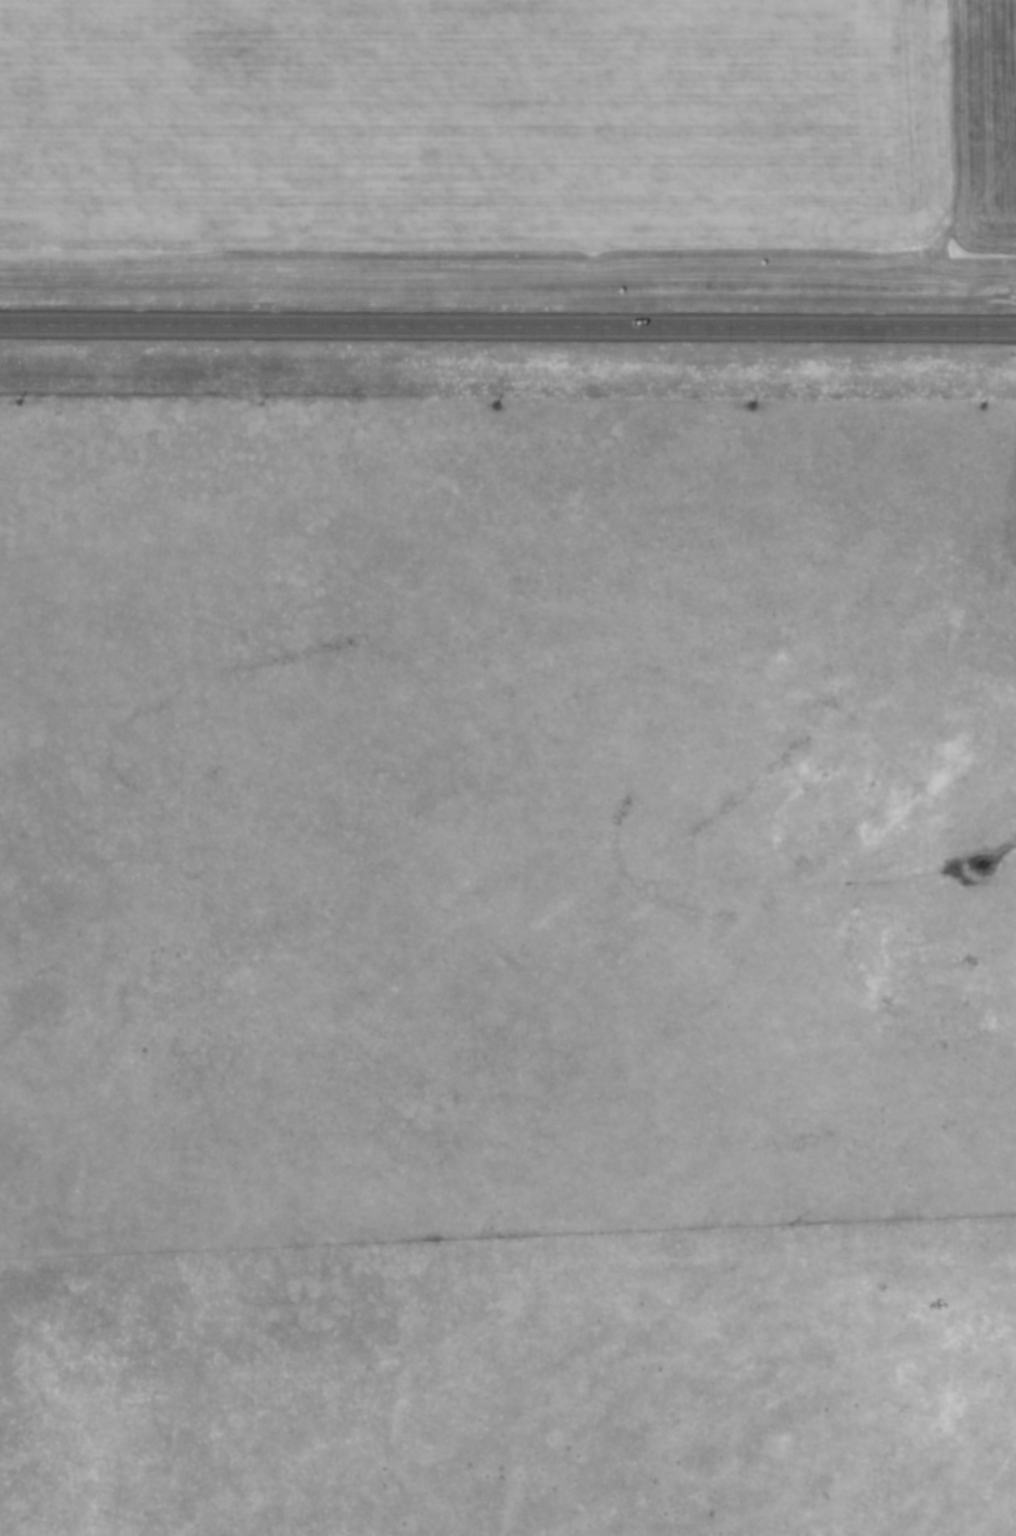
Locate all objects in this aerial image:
road: (507, 341)

